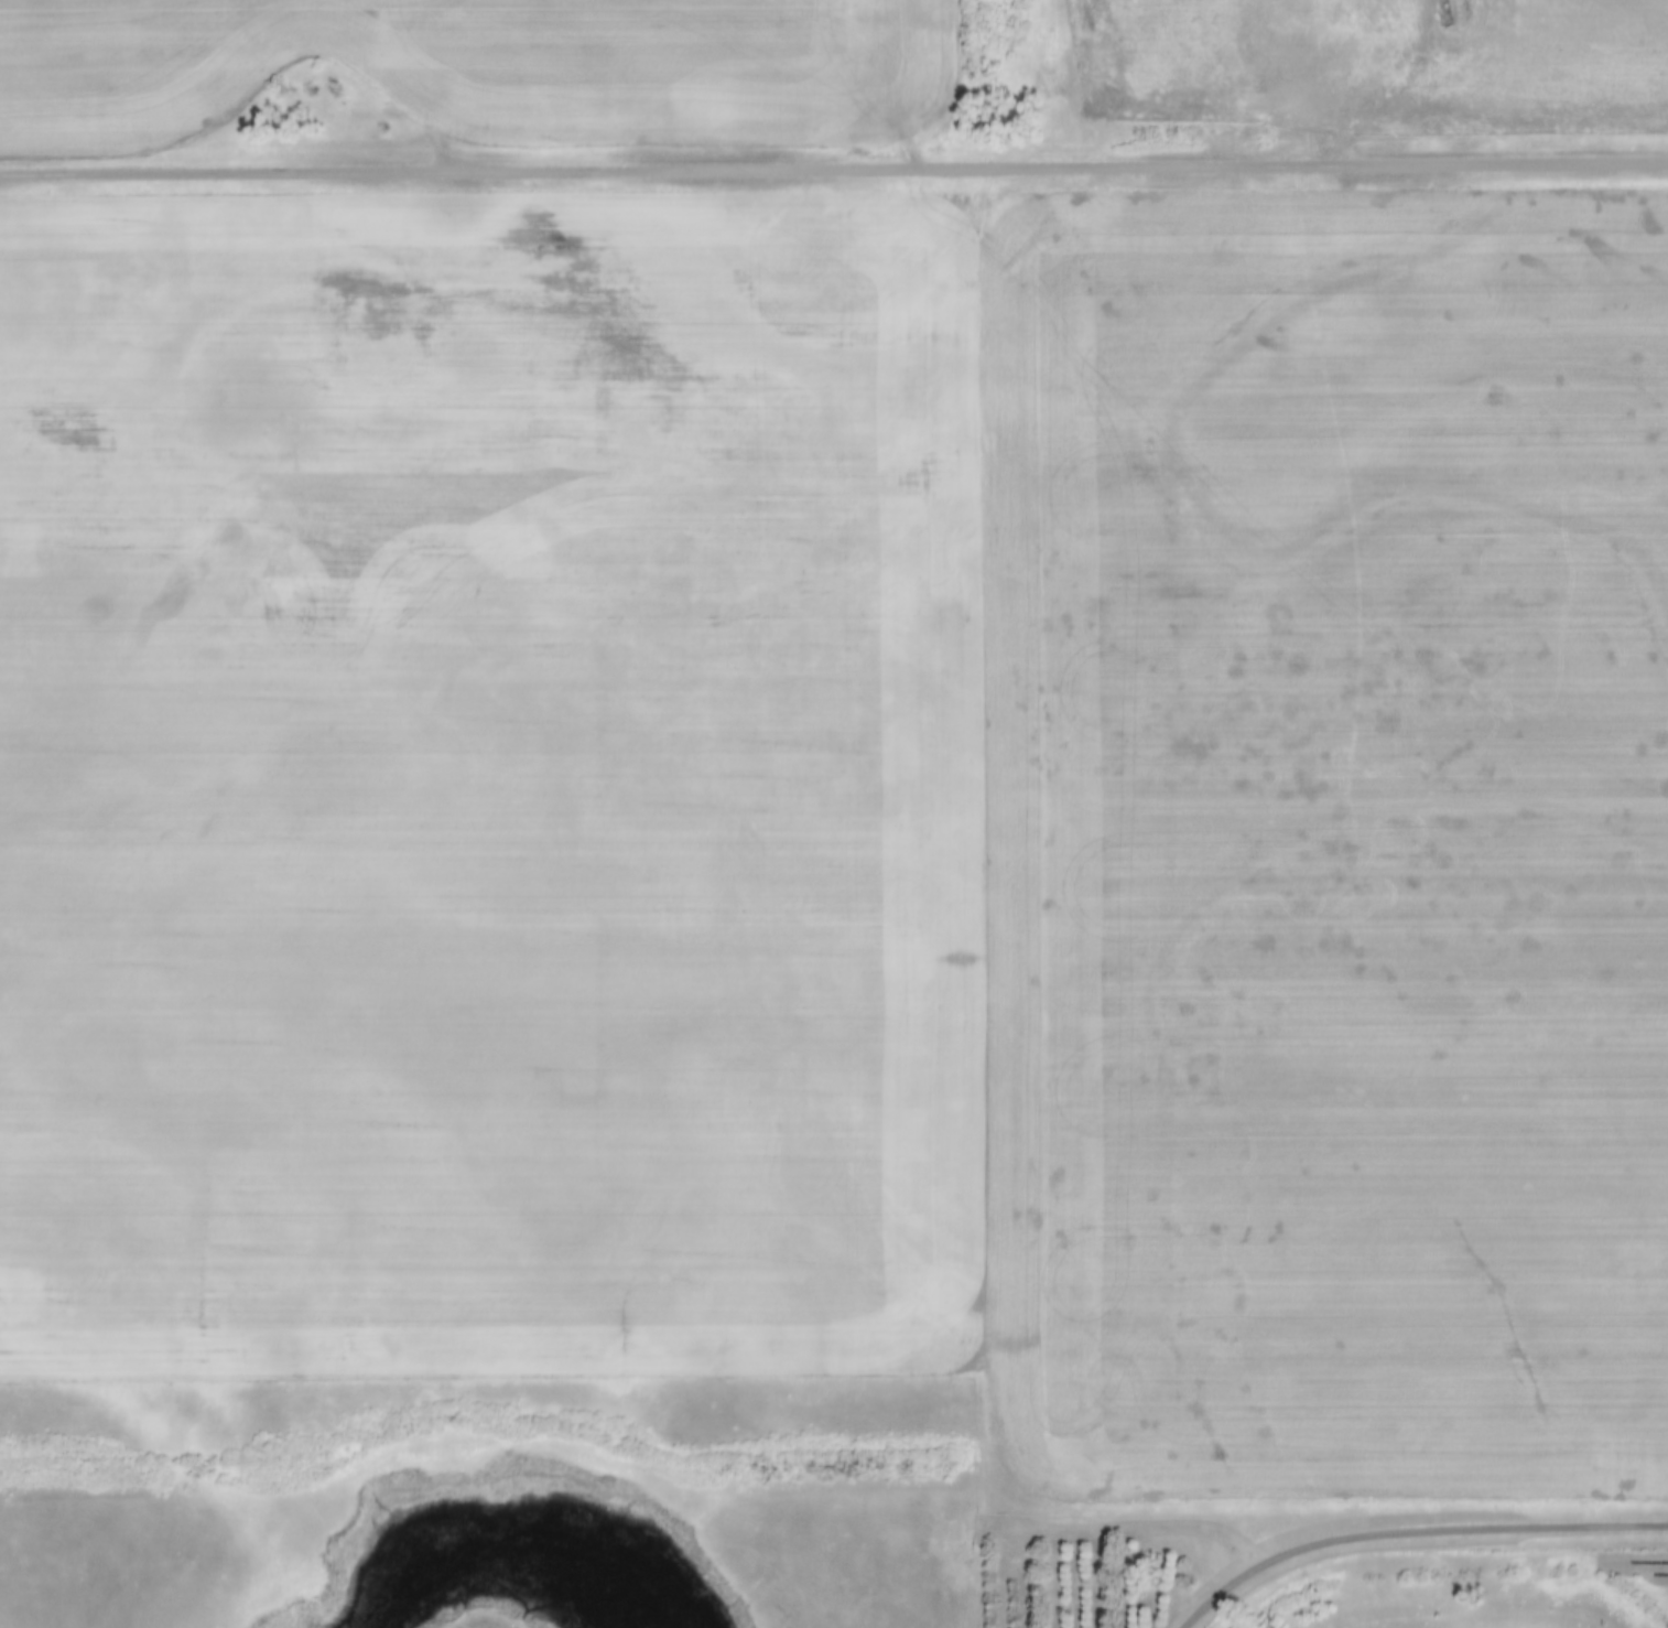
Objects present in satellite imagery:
building: (1375, 6)
road: (1291, 104)
road: (834, 172)
road: (1412, 1534)

